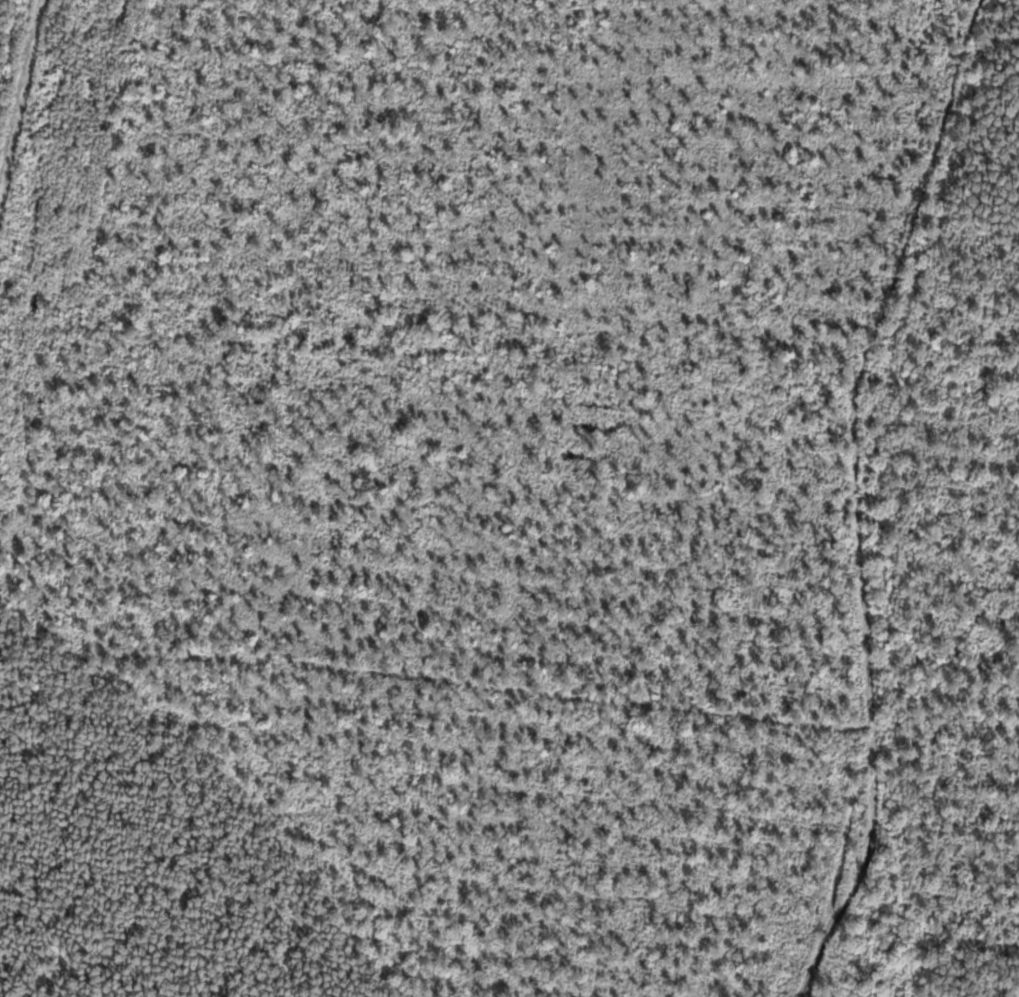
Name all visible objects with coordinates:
road: (19, 86)

